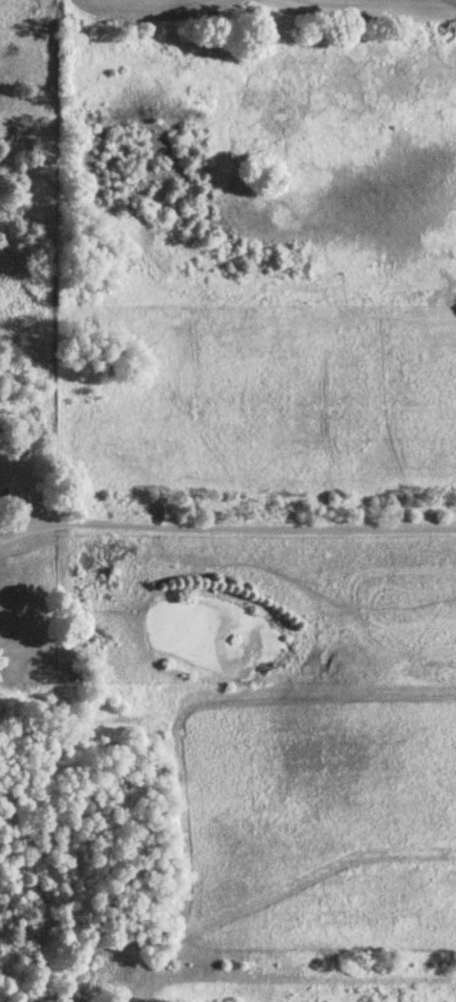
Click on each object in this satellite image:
road: (226, 526)

